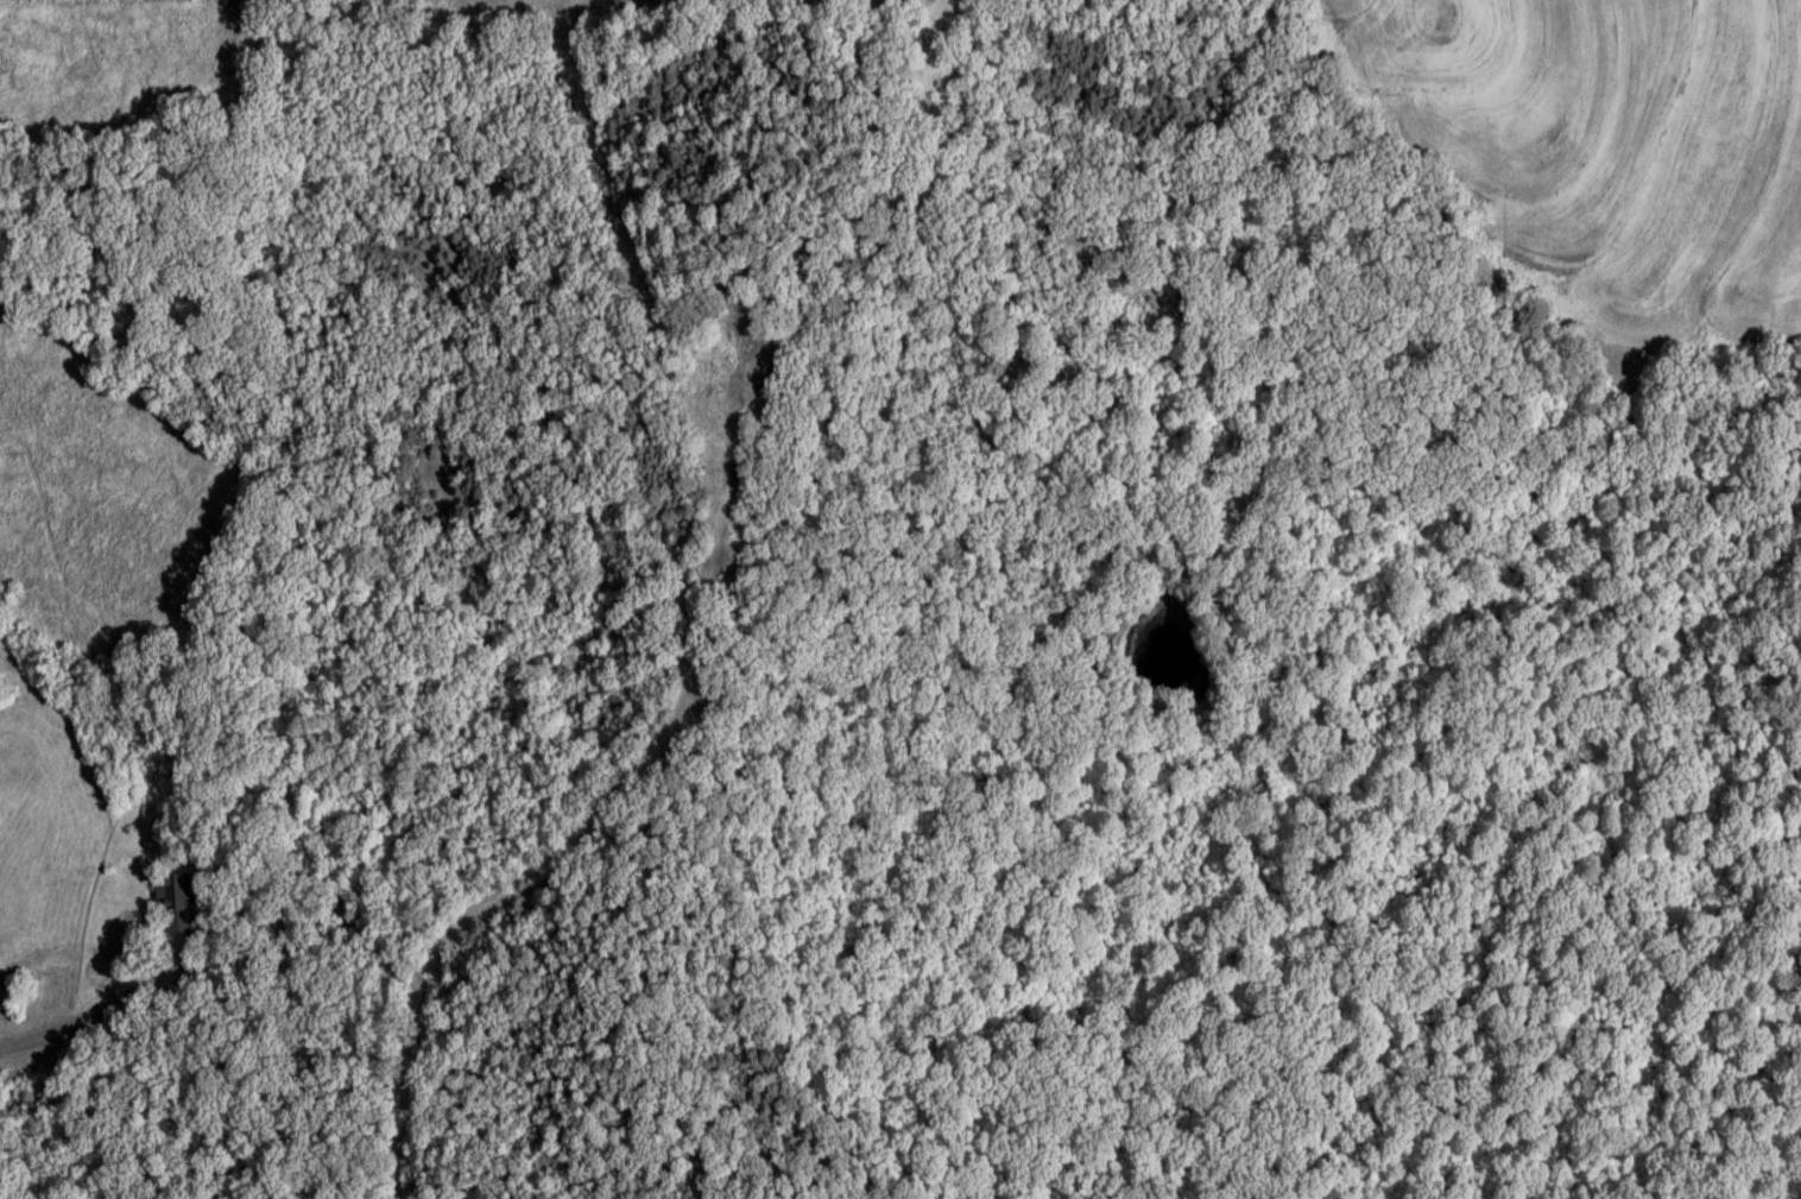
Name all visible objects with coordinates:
building: (175, 905)

